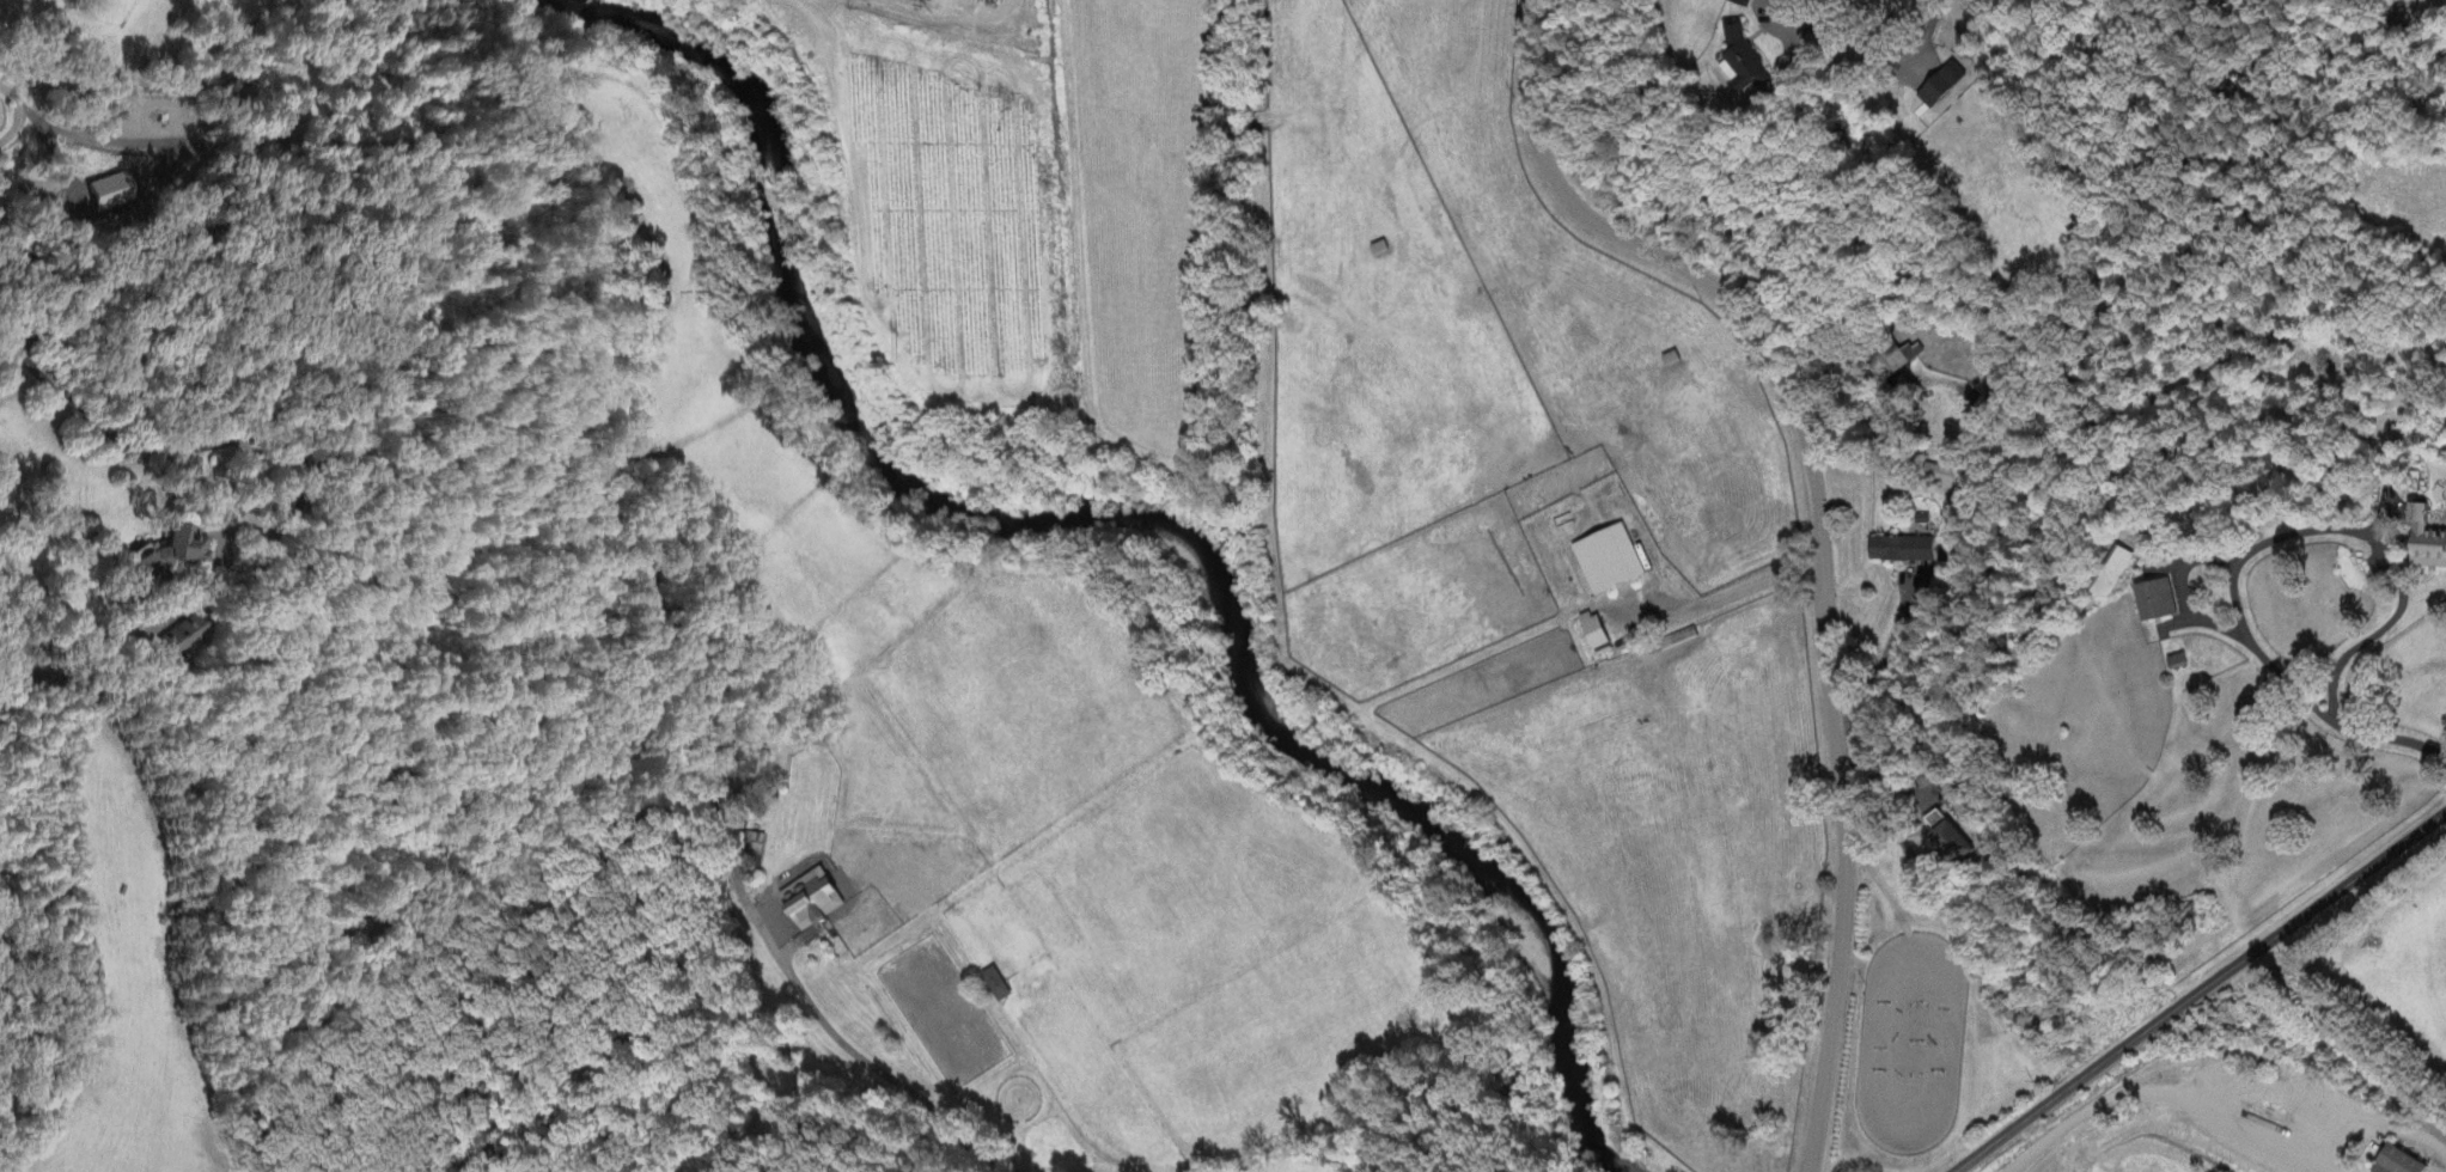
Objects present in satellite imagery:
road: (1878, 48)
road: (23, 112)
road: (129, 438)
river: (1136, 517)
road: (1820, 530)
road: (2312, 531)
road: (1936, 553)
road: (1736, 593)
road: (2392, 739)
road: (719, 818)
road: (2202, 990)
road: (861, 1058)
road: (2177, 1097)

